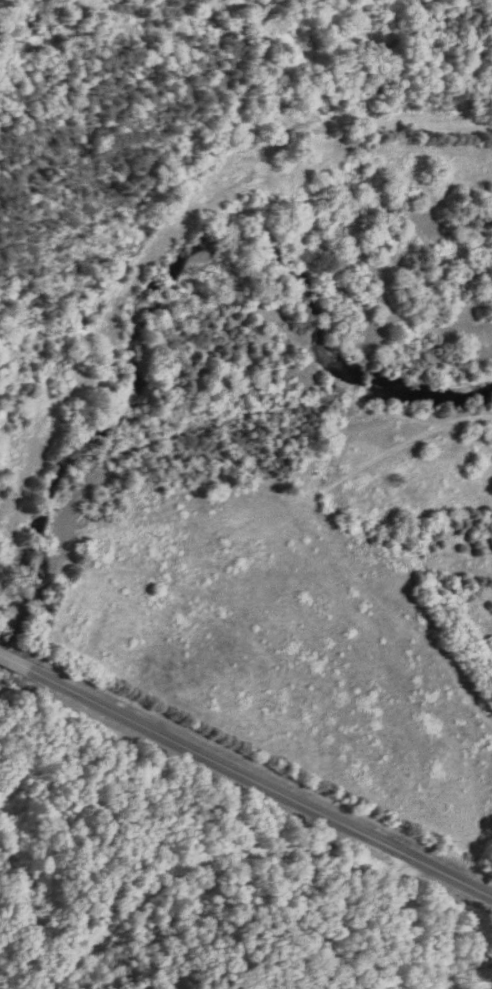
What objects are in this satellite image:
road: (251, 767)
road: (207, 864)

